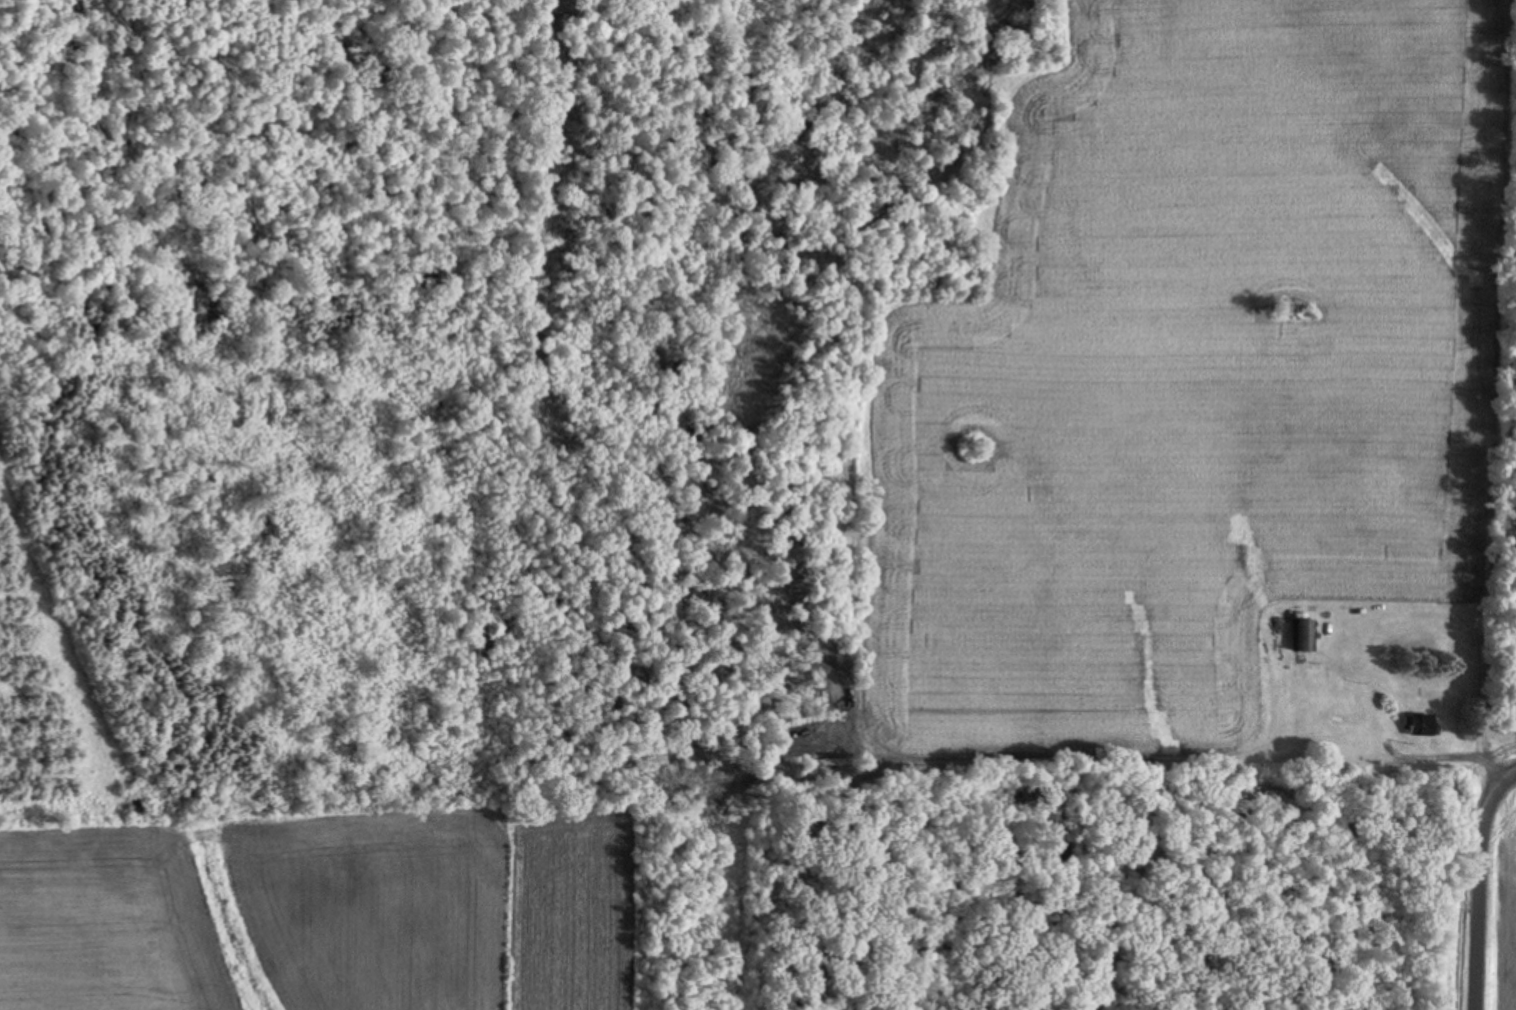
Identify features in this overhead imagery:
building: (1304, 635)
building: (1419, 725)
road: (1476, 883)

